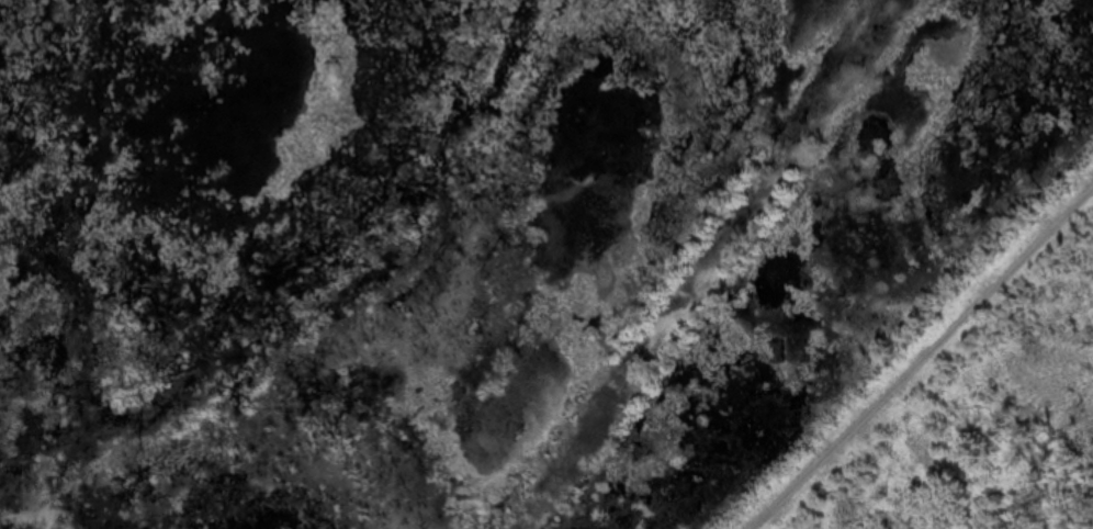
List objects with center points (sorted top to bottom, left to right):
road: (923, 361)

